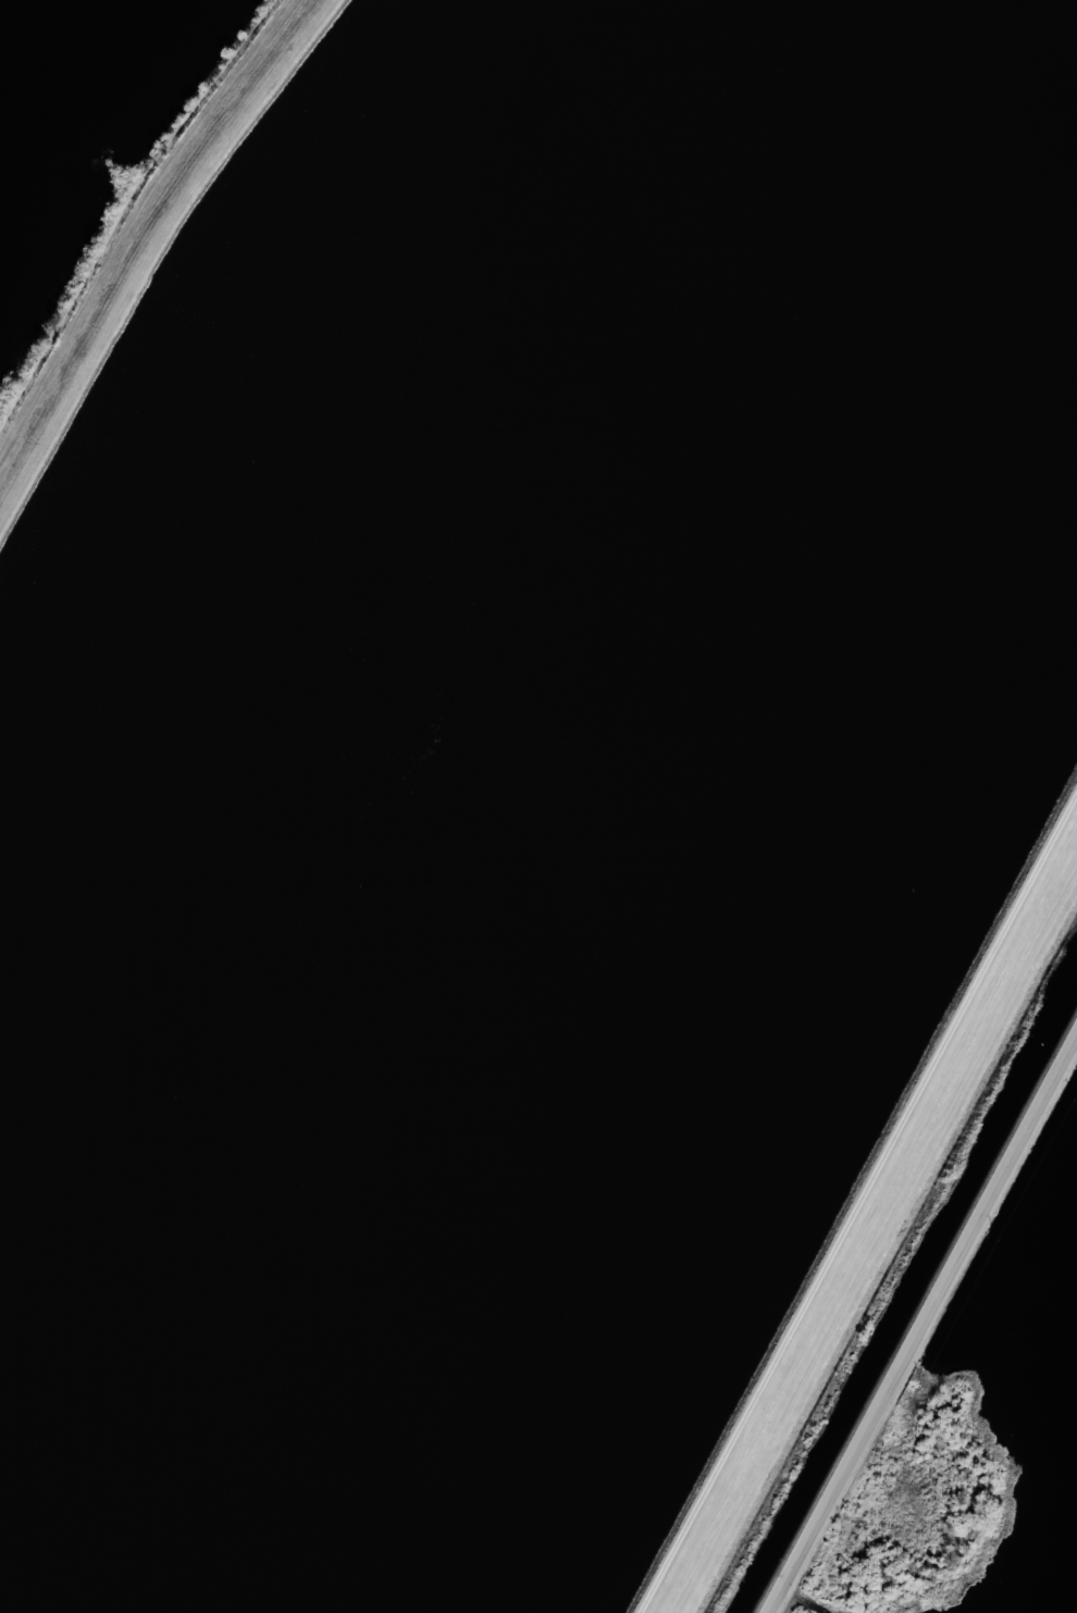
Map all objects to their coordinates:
road: (851, 1200)
road: (925, 1328)

